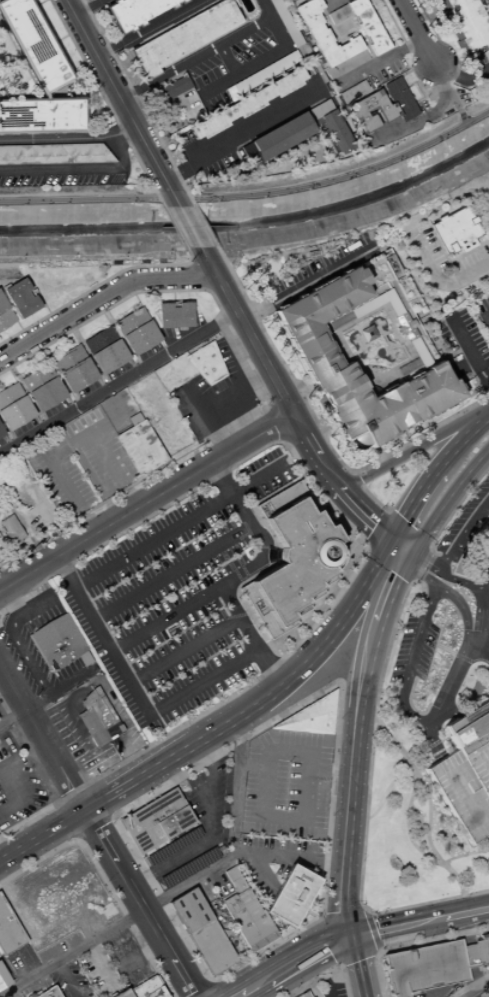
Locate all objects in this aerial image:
road: (40, 2)
road: (328, 3)
road: (486, 7)
road: (87, 8)
building: (135, 12)
building: (338, 13)
road: (426, 20)
building: (285, 23)
building: (467, 24)
building: (366, 26)
road: (146, 28)
road: (414, 31)
road: (62, 37)
building: (184, 37)
road: (401, 37)
building: (329, 42)
building: (37, 44)
road: (267, 54)
road: (193, 58)
road: (375, 62)
road: (79, 67)
building: (265, 72)
road: (417, 73)
road: (460, 76)
road: (452, 78)
building: (215, 80)
building: (175, 87)
building: (353, 92)
building: (399, 99)
road: (105, 101)
road: (120, 101)
road: (135, 101)
road: (168, 102)
building: (244, 103)
road: (455, 104)
building: (316, 112)
building: (386, 112)
building: (44, 115)
road: (425, 115)
road: (241, 128)
building: (335, 132)
building: (279, 136)
road: (123, 137)
road: (53, 138)
building: (54, 154)
road: (78, 168)
road: (252, 195)
road: (486, 202)
road: (190, 226)
road: (203, 226)
road: (174, 227)
building: (454, 230)
road: (189, 264)
road: (1, 275)
road: (199, 277)
road: (437, 280)
road: (306, 283)
road: (95, 286)
road: (207, 291)
road: (38, 294)
road: (102, 295)
building: (24, 299)
parking lot: (482, 314)
building: (6, 315)
building: (175, 316)
road: (486, 318)
building: (404, 327)
building: (139, 331)
road: (247, 332)
building: (366, 334)
building: (307, 342)
building: (107, 351)
road: (468, 351)
building: (205, 363)
building: (76, 369)
road: (117, 381)
road: (253, 382)
road: (293, 386)
building: (45, 388)
road: (214, 392)
road: (280, 395)
parking lot: (212, 397)
road: (324, 399)
road: (264, 404)
building: (15, 407)
parking lot: (119, 411)
road: (121, 414)
building: (135, 419)
road: (273, 420)
road: (297, 427)
road: (320, 431)
road: (321, 432)
building: (2, 433)
road: (78, 439)
road: (281, 439)
road: (460, 442)
road: (414, 448)
building: (141, 449)
road: (290, 459)
parking lot: (79, 463)
road: (113, 470)
road: (333, 476)
road: (355, 479)
road: (93, 481)
road: (201, 485)
road: (67, 487)
road: (417, 495)
road: (449, 495)
road: (373, 498)
road: (146, 501)
road: (457, 504)
road: (242, 512)
road: (55, 521)
road: (180, 523)
road: (397, 527)
road: (408, 528)
building: (10, 529)
road: (378, 529)
road: (388, 532)
road: (463, 534)
road: (29, 537)
road: (384, 540)
road: (389, 540)
road: (405, 540)
road: (367, 547)
road: (395, 556)
road: (411, 556)
road: (426, 556)
road: (379, 558)
building: (296, 559)
road: (420, 564)
road: (389, 565)
road: (402, 570)
road: (172, 571)
road: (420, 574)
road: (3, 579)
road: (460, 581)
road: (487, 587)
road: (389, 599)
road: (11, 600)
parking lot: (171, 600)
road: (184, 606)
road: (27, 609)
road: (462, 610)
road: (369, 613)
road: (480, 621)
road: (249, 636)
road: (373, 641)
building: (57, 643)
road: (185, 650)
road: (479, 653)
road: (26, 658)
road: (463, 660)
road: (411, 661)
road: (59, 687)
road: (242, 688)
road: (135, 689)
road: (270, 694)
road: (441, 702)
road: (60, 704)
building: (488, 708)
road: (4, 710)
road: (13, 715)
road: (99, 715)
building: (465, 715)
building: (310, 716)
building: (97, 718)
road: (463, 719)
building: (468, 728)
road: (44, 736)
building: (294, 738)
building: (309, 739)
building: (472, 742)
building: (256, 747)
building: (298, 753)
building: (320, 756)
road: (24, 758)
road: (96, 758)
road: (62, 765)
road: (351, 778)
road: (6, 786)
parking lot: (465, 788)
road: (73, 792)
road: (387, 792)
road: (117, 793)
road: (426, 793)
road: (467, 798)
road: (99, 799)
road: (367, 808)
road: (406, 812)
road: (112, 817)
road: (66, 819)
road: (415, 819)
road: (28, 820)
building: (155, 821)
road: (93, 826)
road: (328, 826)
road: (207, 828)
road: (51, 833)
road: (230, 834)
road: (488, 835)
road: (75, 838)
building: (171, 846)
road: (287, 853)
road: (463, 854)
building: (187, 868)
road: (260, 870)
building: (233, 879)
road: (103, 880)
road: (131, 884)
building: (289, 896)
road: (342, 912)
road: (342, 918)
building: (247, 920)
road: (419, 923)
building: (11, 925)
road: (369, 930)
building: (201, 931)
traffic signals: (349, 937)
road: (330, 940)
building: (5, 942)
road: (411, 944)
road: (292, 950)
building: (482, 950)
road: (72, 951)
road: (468, 953)
road: (375, 954)
road: (140, 955)
road: (334, 955)
building: (469, 956)
road: (357, 959)
road: (359, 966)
building: (424, 968)
parking lot: (424, 968)
road: (413, 969)
road: (326, 972)
road: (185, 977)
road: (68, 978)
building: (3, 979)
road: (208, 980)
road: (293, 980)
road: (322, 982)
road: (482, 983)
road: (469, 985)
building: (145, 986)
parking lot: (331, 986)
road: (195, 989)
road: (212, 989)
road: (227, 989)
parking lot: (314, 991)
road: (13, 992)
building: (159, 992)
building: (50, 993)
road: (467, 993)
road: (484, 993)
building: (125, 994)
road: (267, 994)
building: (304, 994)
parking lot: (304, 994)
building: (149, 995)
road: (424, 996)

